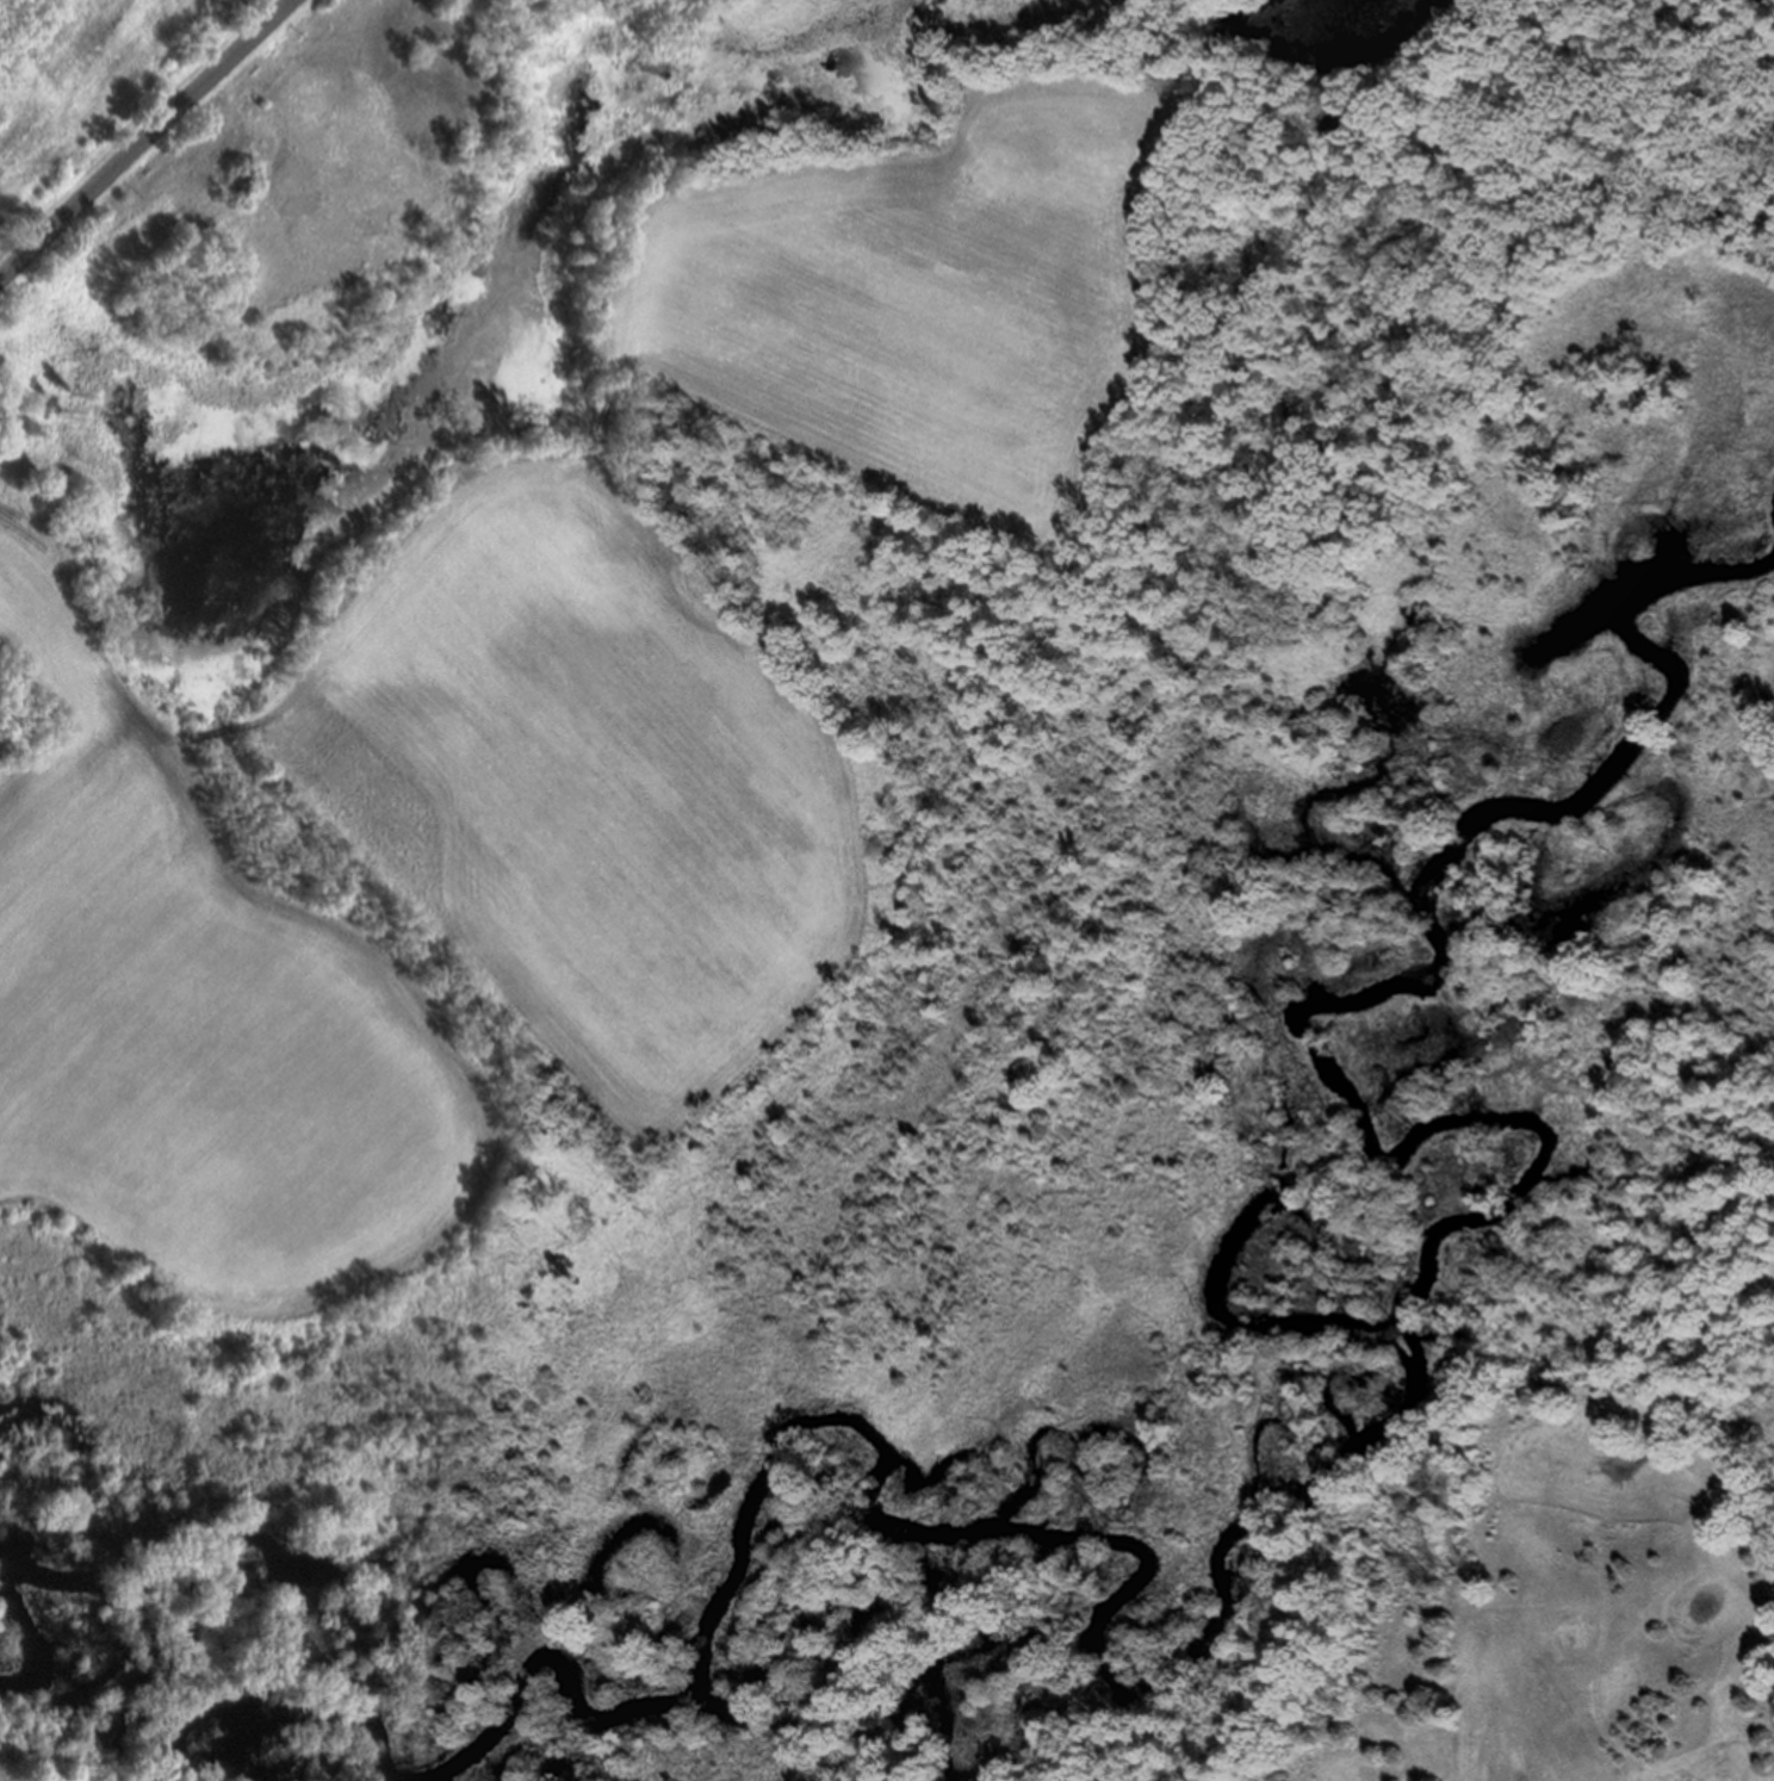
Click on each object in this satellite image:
road: (145, 138)

